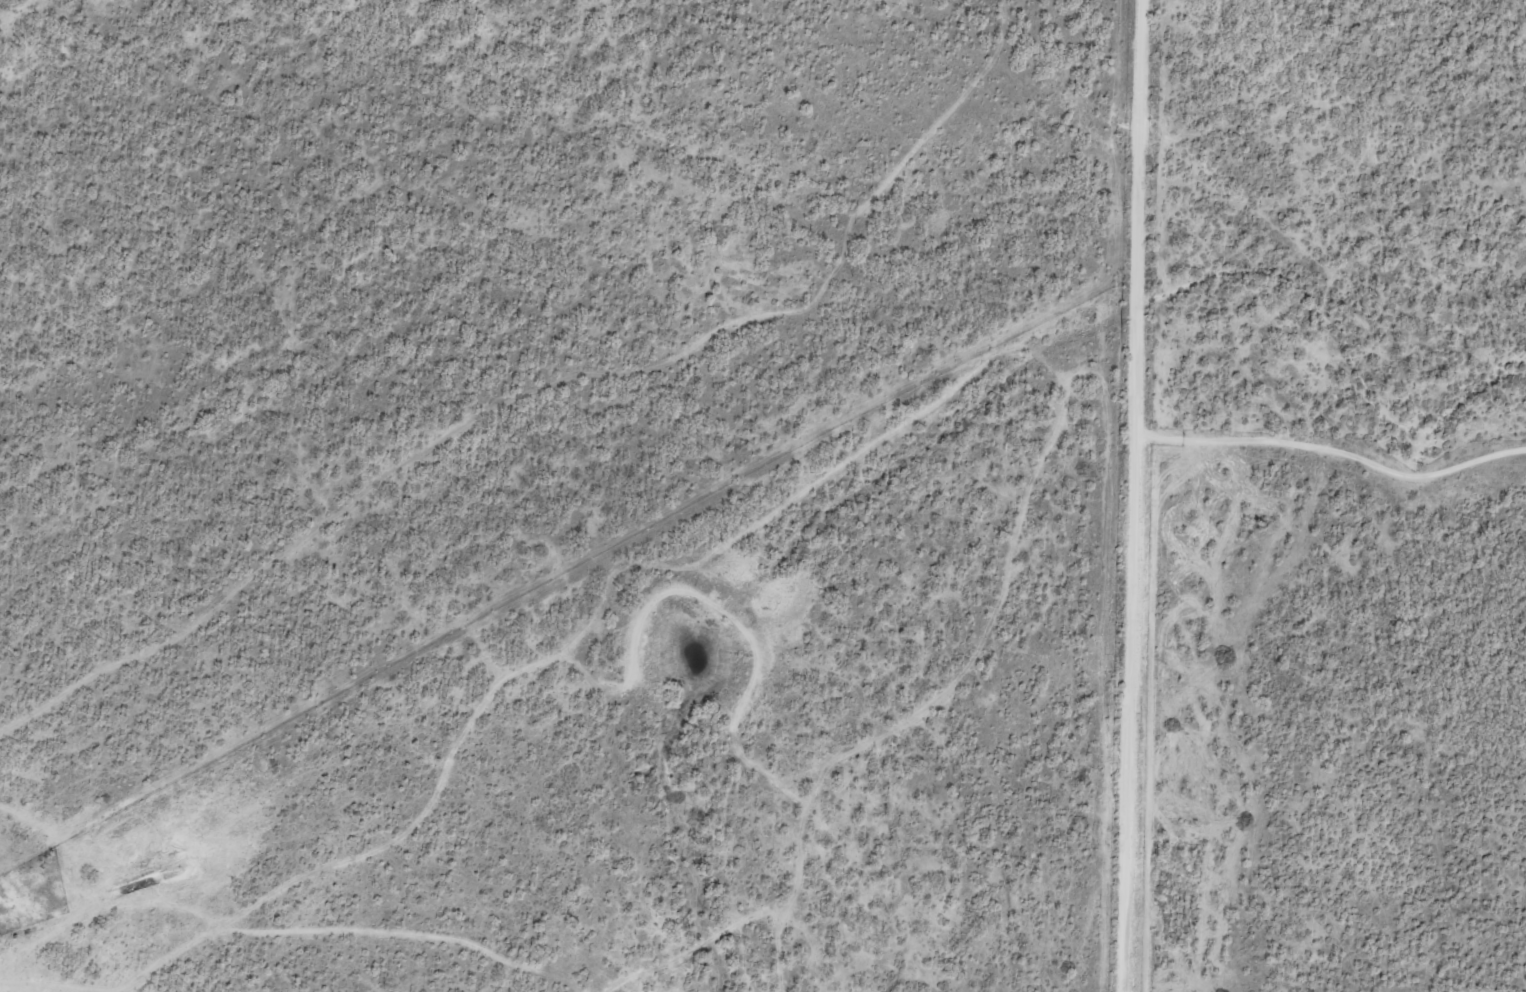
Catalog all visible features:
road: (1134, 496)

